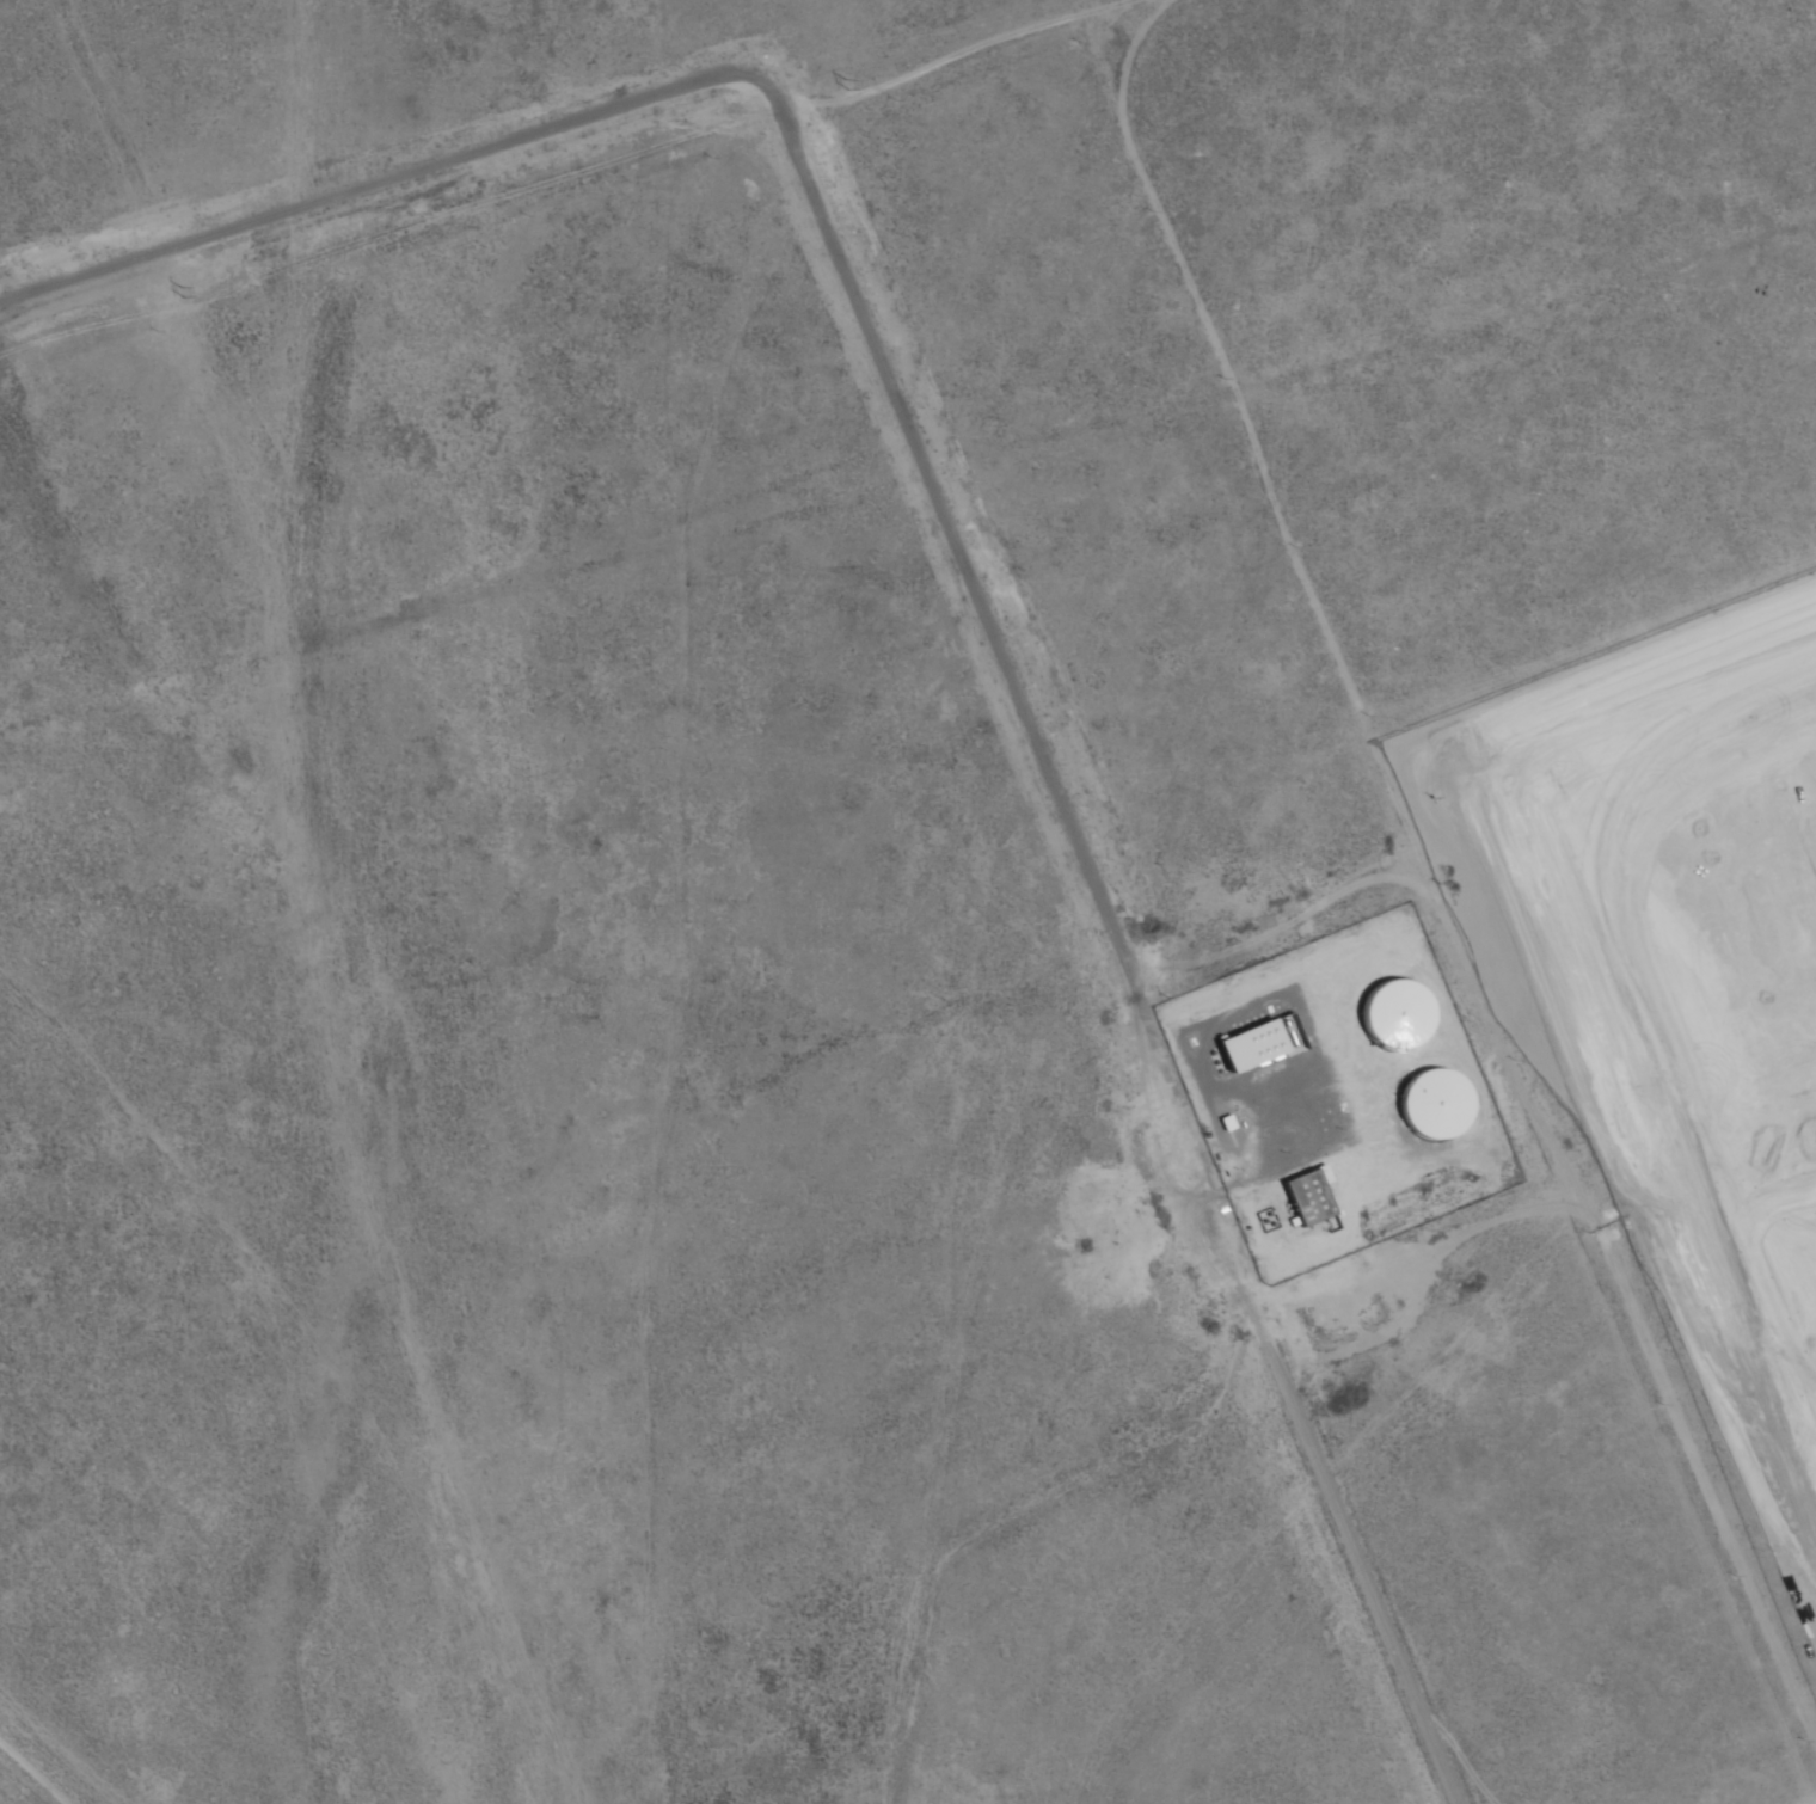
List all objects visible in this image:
power substation: (16, 37)
power tower: (847, 85)
building: (1679, 140)
road: (1480, 226)
road: (864, 287)
power tower: (182, 293)
road: (1369, 367)
road: (1589, 620)
parking lot: (1665, 833)
road: (1751, 903)
road: (1609, 945)
building: (1395, 1007)
storage tank: (1395, 1007)
building: (1247, 1037)
building: (1441, 1100)
storage tank: (1441, 1100)
building: (1306, 1198)
road: (1766, 1208)
road: (1798, 1309)
parking lot: (1804, 1331)
road: (1812, 1338)
road: (1812, 1346)
road: (1774, 1354)
road: (1663, 1381)
road: (1777, 1465)
road: (1326, 1485)
road: (1814, 1550)

